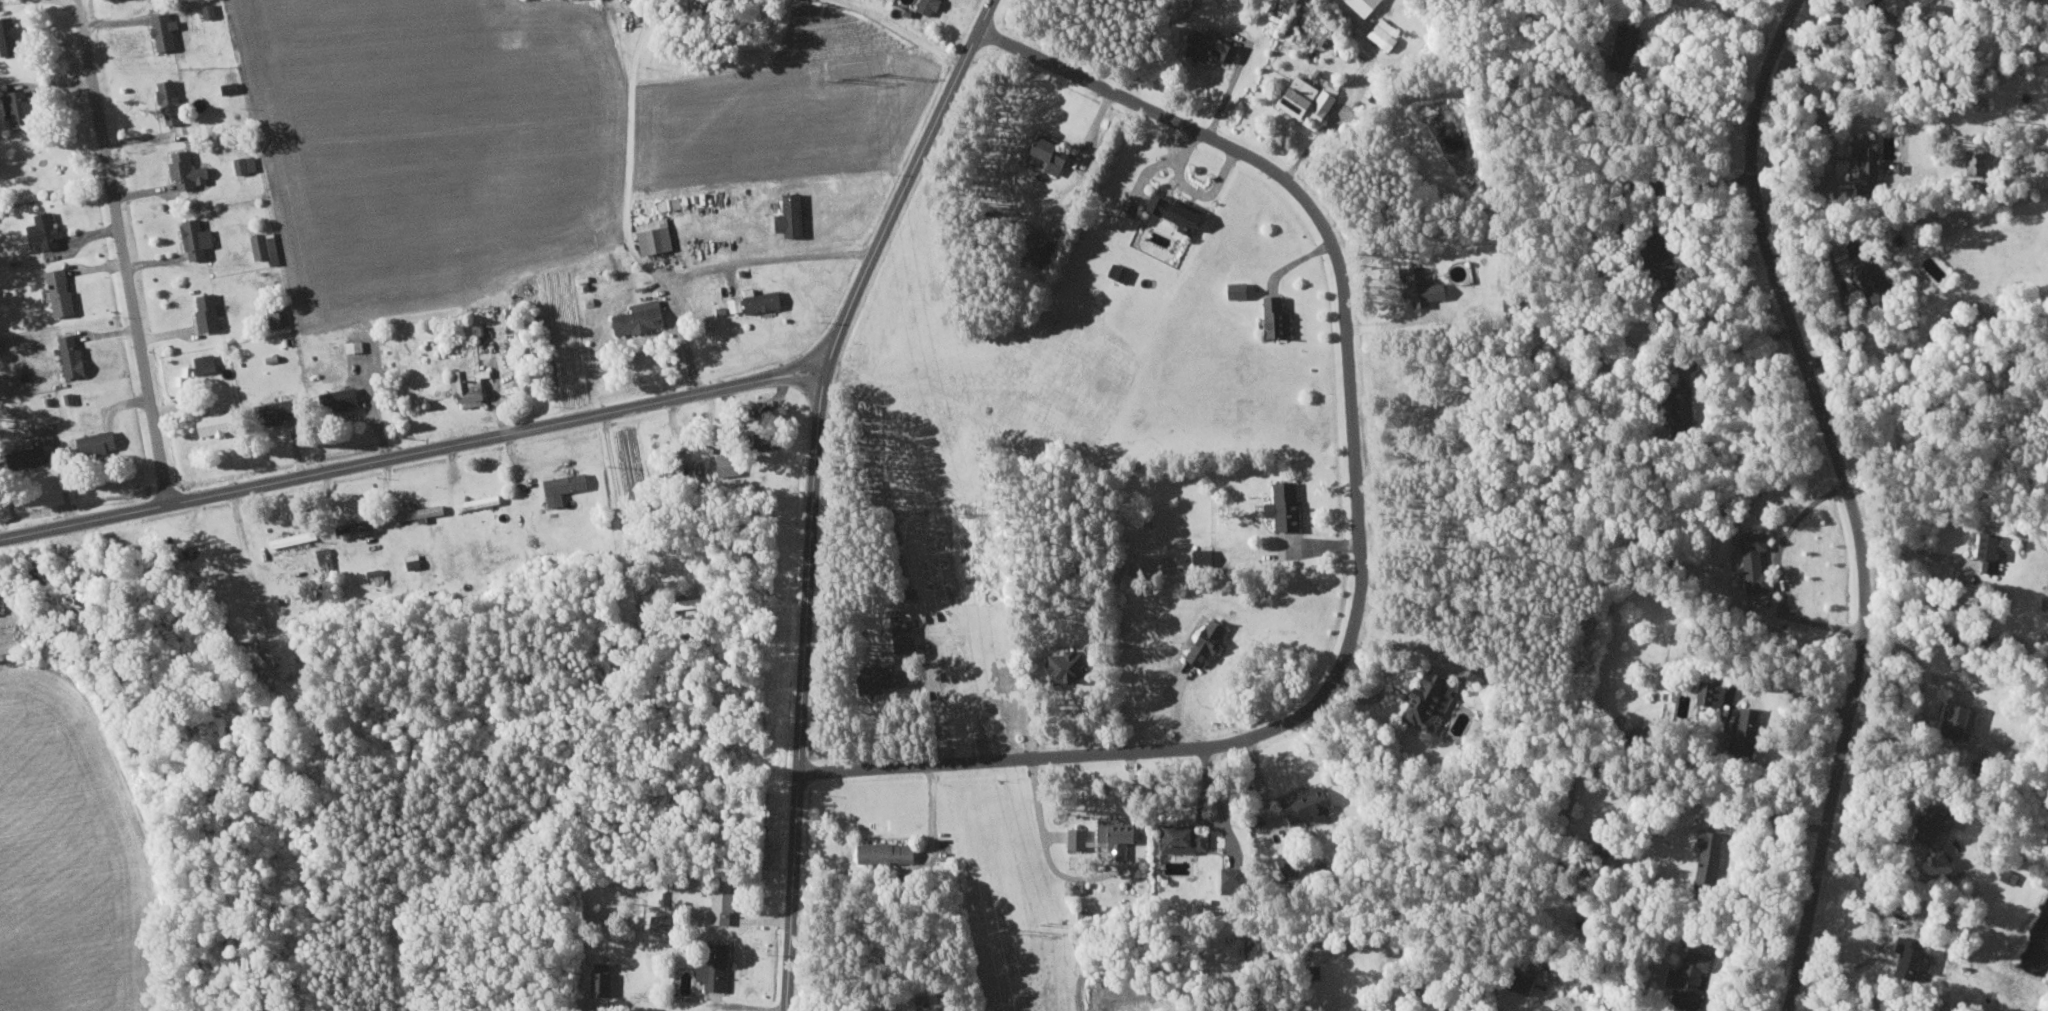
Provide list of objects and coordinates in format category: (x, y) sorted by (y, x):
building: (930, 5)
building: (167, 30)
road: (906, 31)
building: (10, 35)
building: (1384, 37)
building: (1624, 44)
building: (1212, 45)
power tower: (882, 74)
power tower: (841, 79)
building: (231, 83)
building: (1311, 98)
building: (174, 101)
building: (23, 107)
road: (925, 142)
road: (629, 146)
building: (1056, 154)
building: (1971, 162)
building: (247, 163)
building: (191, 169)
building: (671, 202)
building: (1180, 210)
building: (793, 214)
building: (47, 230)
building: (655, 236)
building: (199, 238)
building: (268, 246)
road: (124, 249)
building: (1661, 261)
road: (715, 268)
building: (1122, 271)
building: (1868, 278)
building: (1423, 286)
building: (1241, 289)
building: (63, 291)
building: (756, 301)
building: (211, 312)
building: (279, 315)
building: (643, 316)
building: (1279, 317)
building: (356, 345)
building: (75, 354)
building: (207, 363)
building: (472, 384)
building: (344, 398)
building: (1676, 405)
building: (284, 409)
building: (221, 422)
building: (101, 441)
road: (413, 449)
building: (31, 457)
building: (730, 463)
building: (567, 485)
road: (1854, 498)
building: (480, 501)
power tower: (966, 503)
building: (1288, 505)
power tower: (930, 509)
building: (421, 512)
building: (365, 523)
road: (1357, 529)
building: (295, 538)
building: (478, 551)
building: (1984, 552)
building: (1208, 556)
building: (327, 560)
building: (1749, 560)
road: (1780, 567)
building: (2, 603)
building: (680, 603)
building: (906, 638)
building: (1211, 640)
road: (804, 643)
building: (1070, 665)
building: (892, 679)
building: (1708, 694)
building: (1433, 699)
building: (1953, 720)
building: (1740, 726)
building: (1314, 804)
building: (1928, 820)
building: (1121, 835)
building: (1080, 838)
building: (1186, 839)
building: (1704, 850)
building: (890, 852)
building: (1235, 880)
building: (659, 896)
building: (725, 903)
power tower: (1046, 921)
building: (664, 923)
power tower: (1008, 926)
building: (1259, 946)
building: (1902, 955)
building: (717, 967)
building: (1683, 977)
building: (603, 978)
building: (1517, 980)

